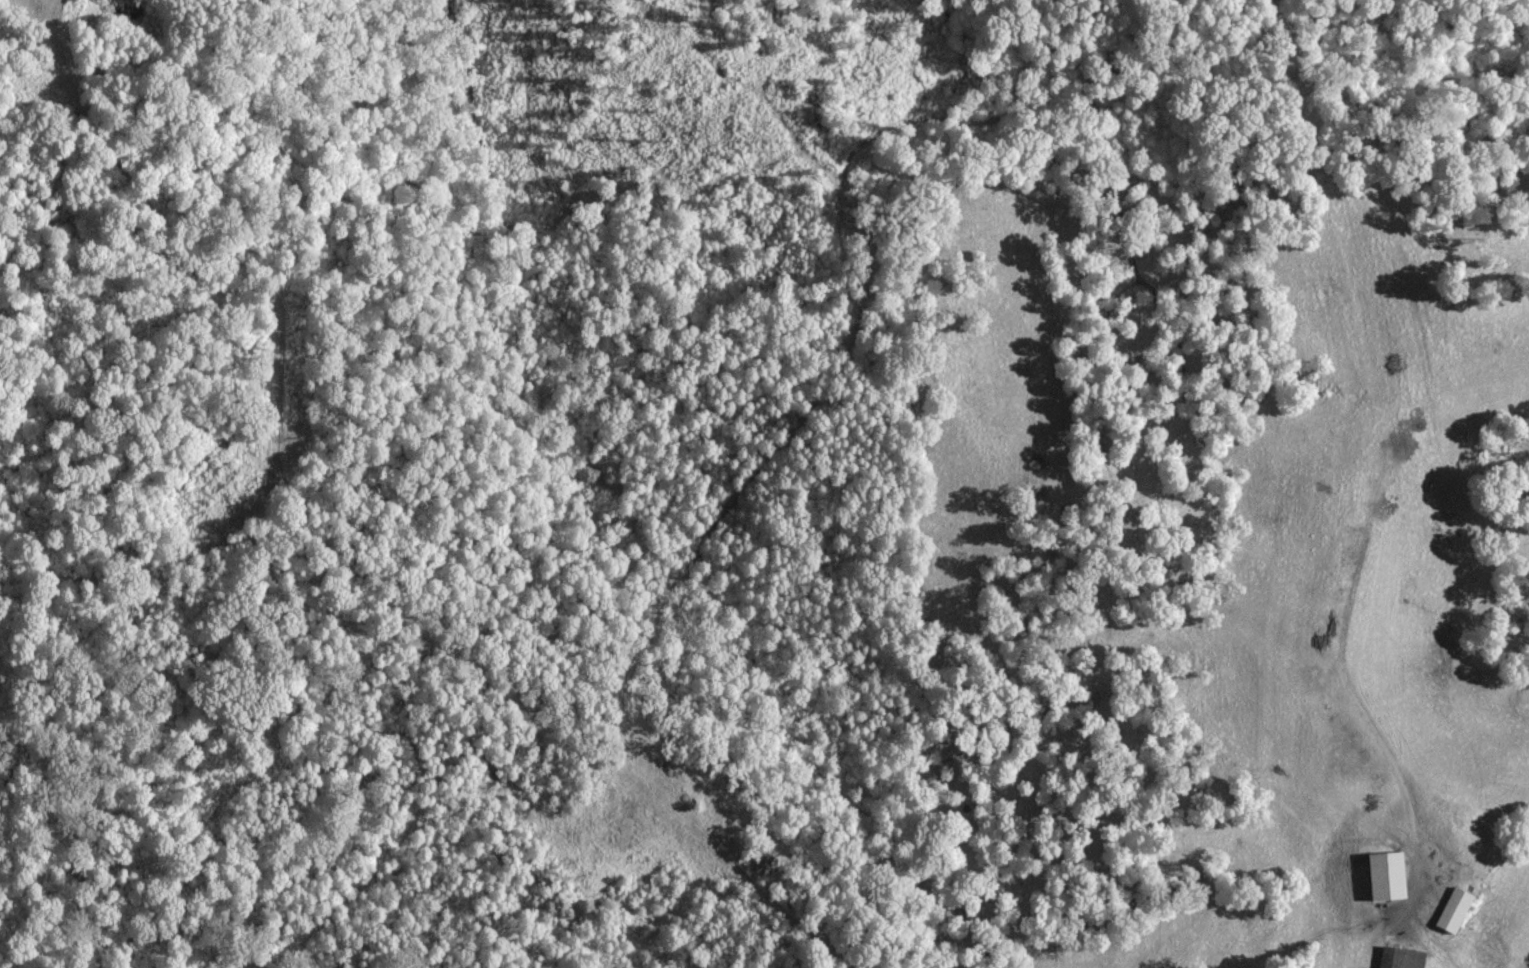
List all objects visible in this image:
building: (1383, 875)
building: (1451, 910)
building: (1398, 957)

